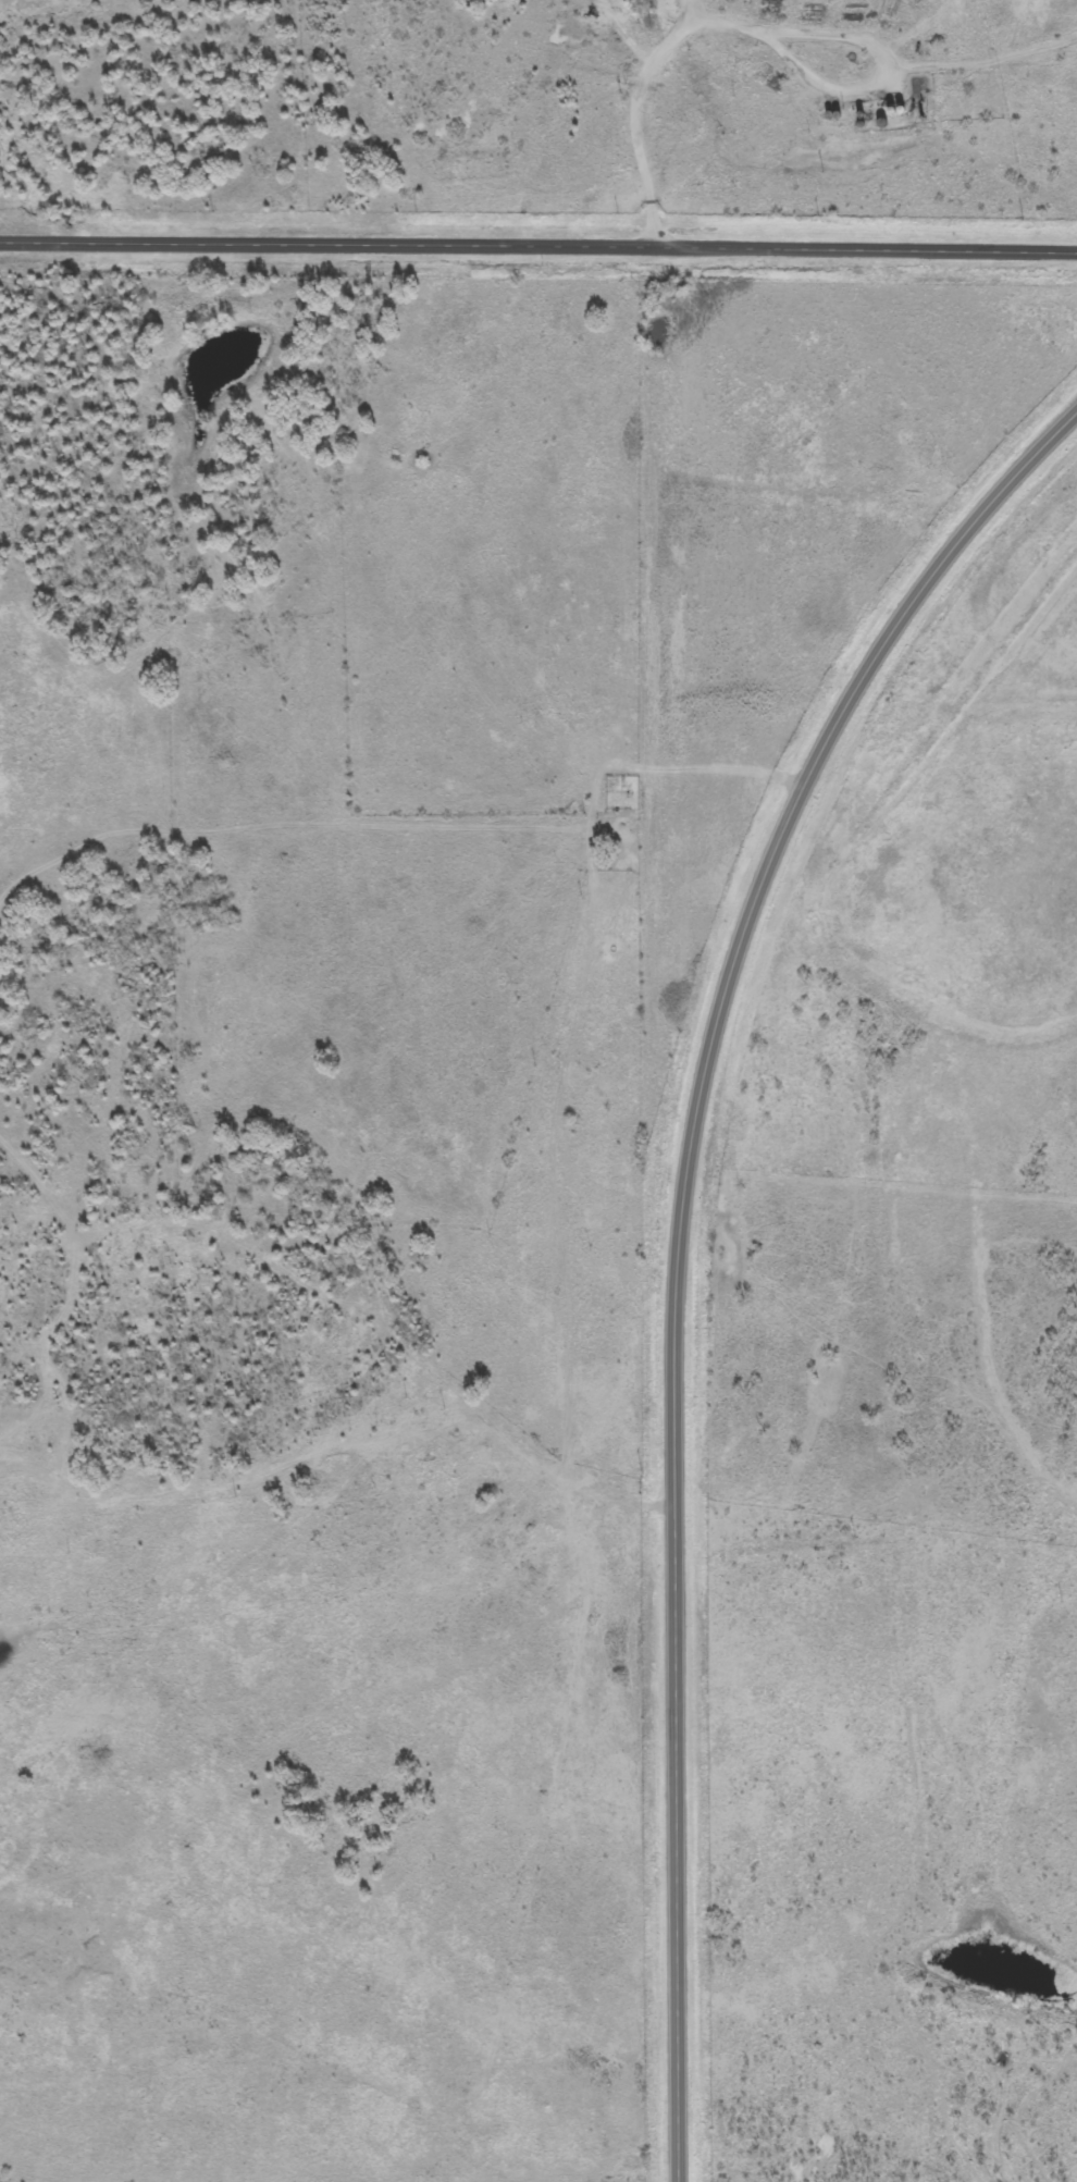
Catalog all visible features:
road: (529, 116)
road: (538, 246)
road: (680, 1243)

